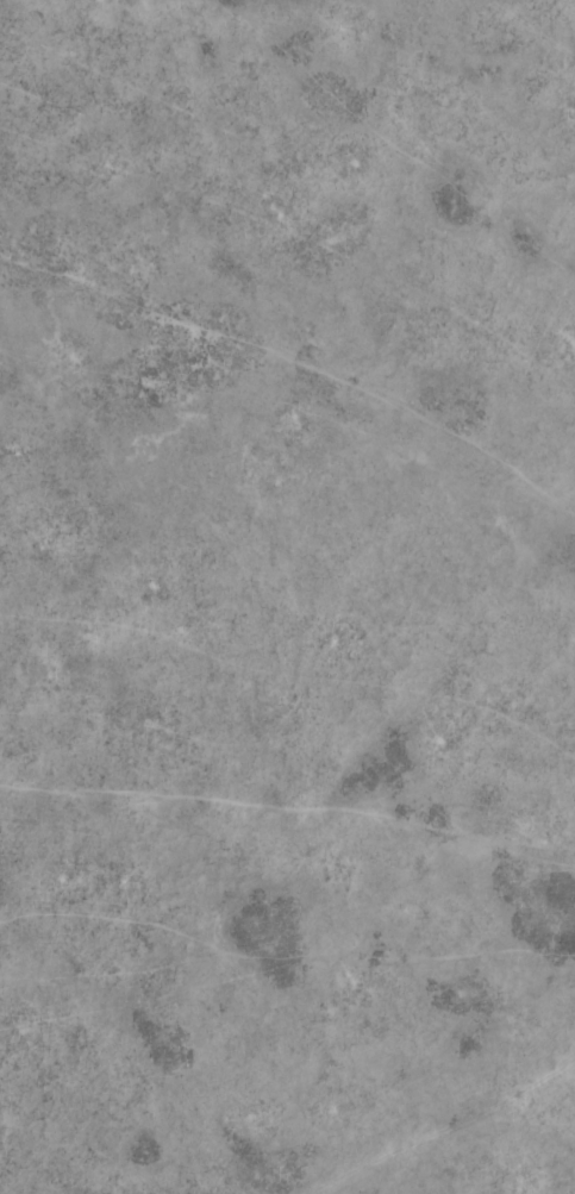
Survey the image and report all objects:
road: (248, 386)

